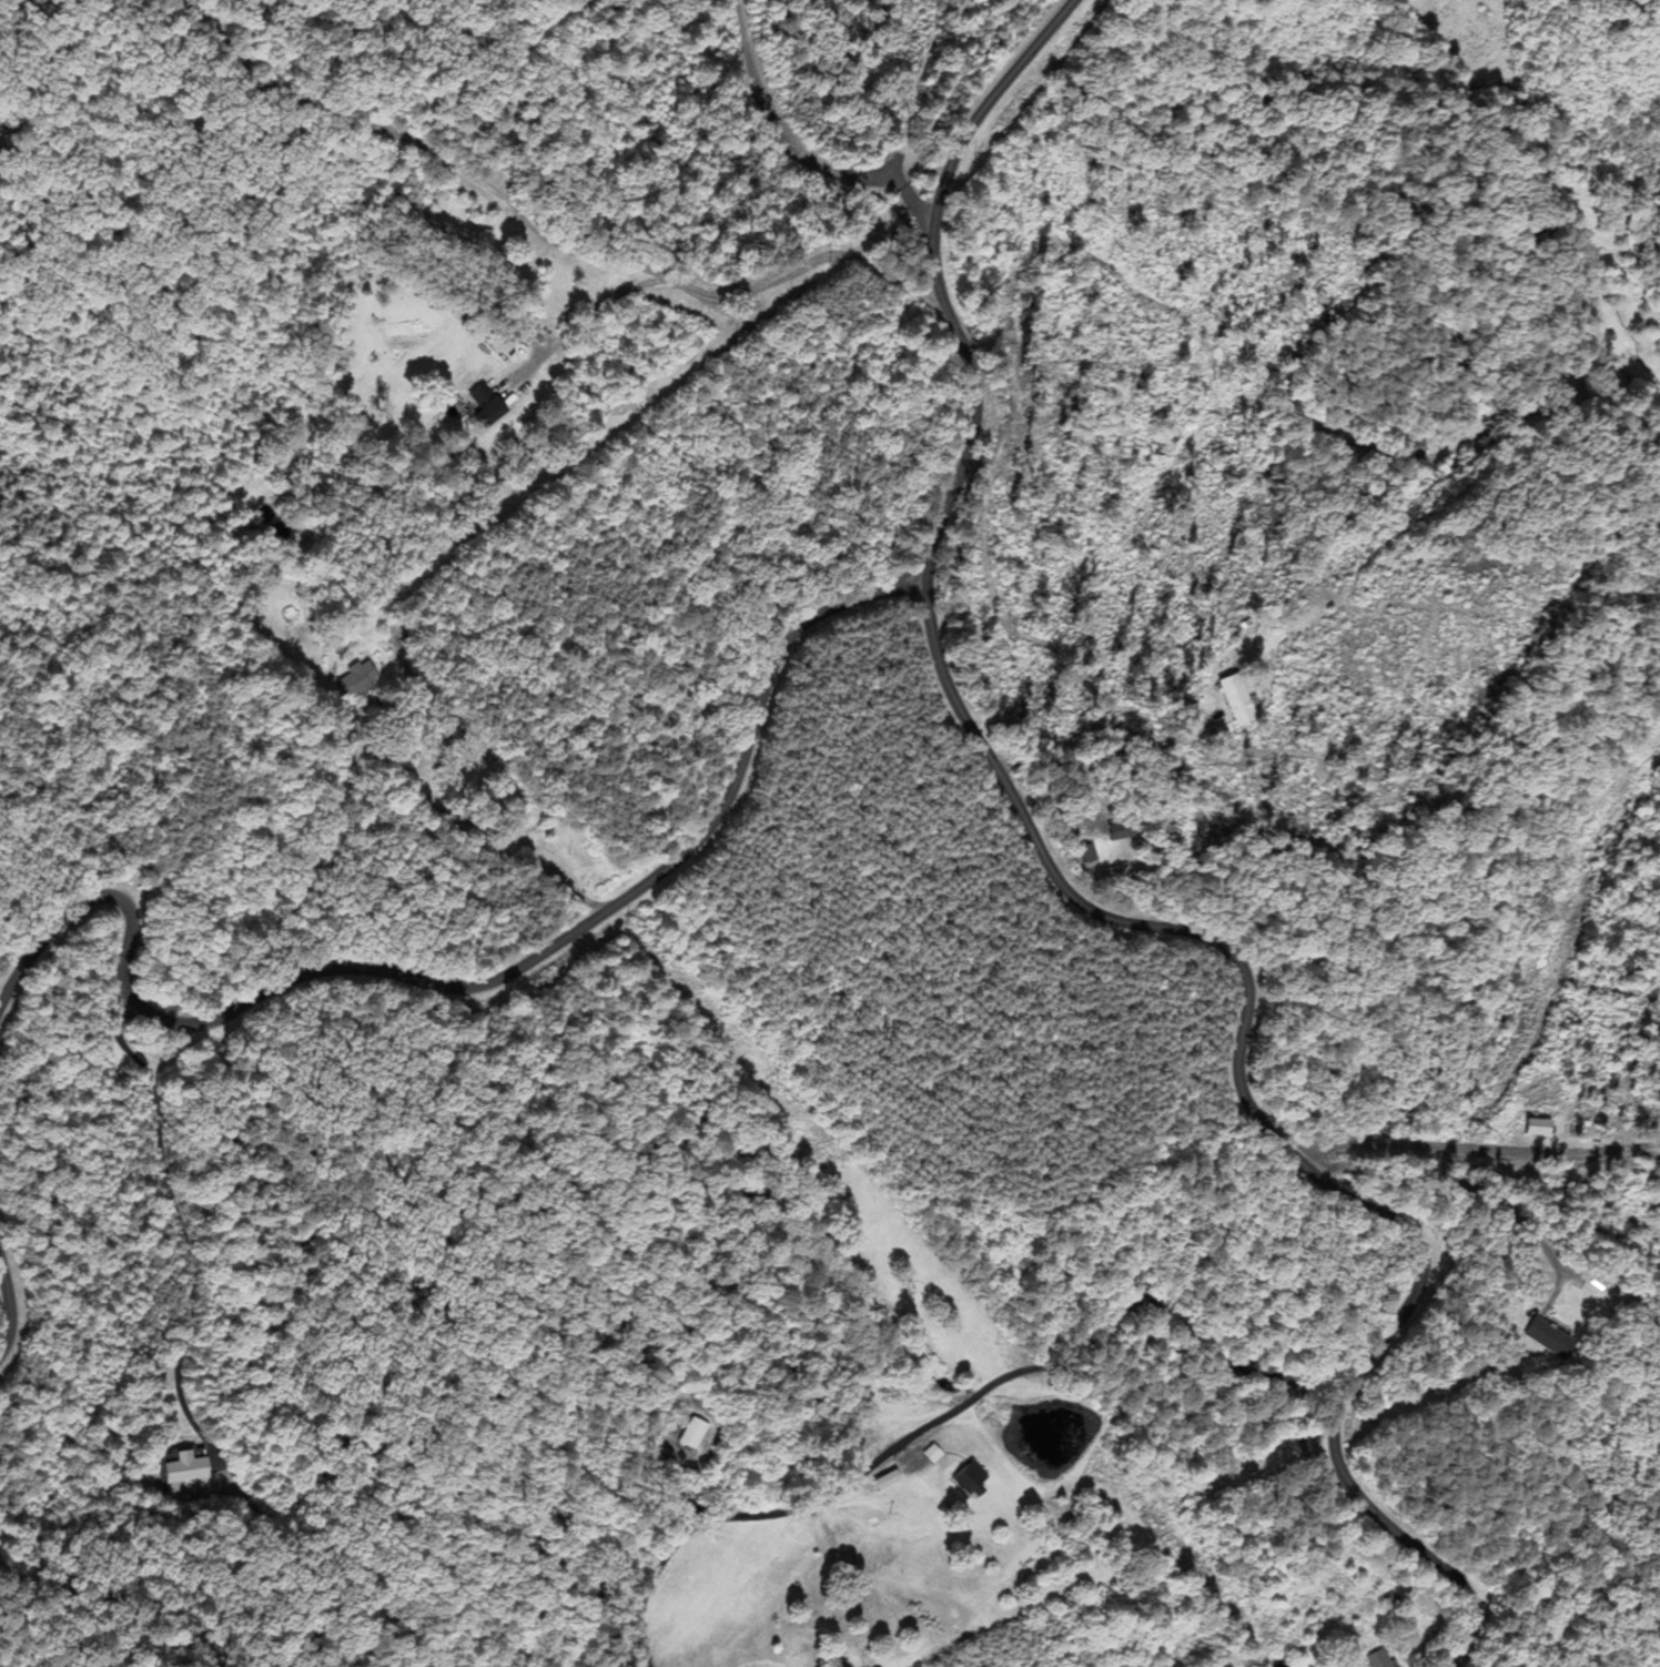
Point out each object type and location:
road: (934, 71)
road: (790, 150)
road: (555, 225)
building: (488, 404)
building: (357, 678)
building: (1239, 698)
building: (1128, 829)
road: (1110, 907)
road: (474, 971)
building: (1542, 1127)
road: (8, 1300)
building: (1551, 1337)
road: (964, 1391)
building: (694, 1433)
building: (189, 1469)
building: (974, 1481)
building: (1381, 1659)

